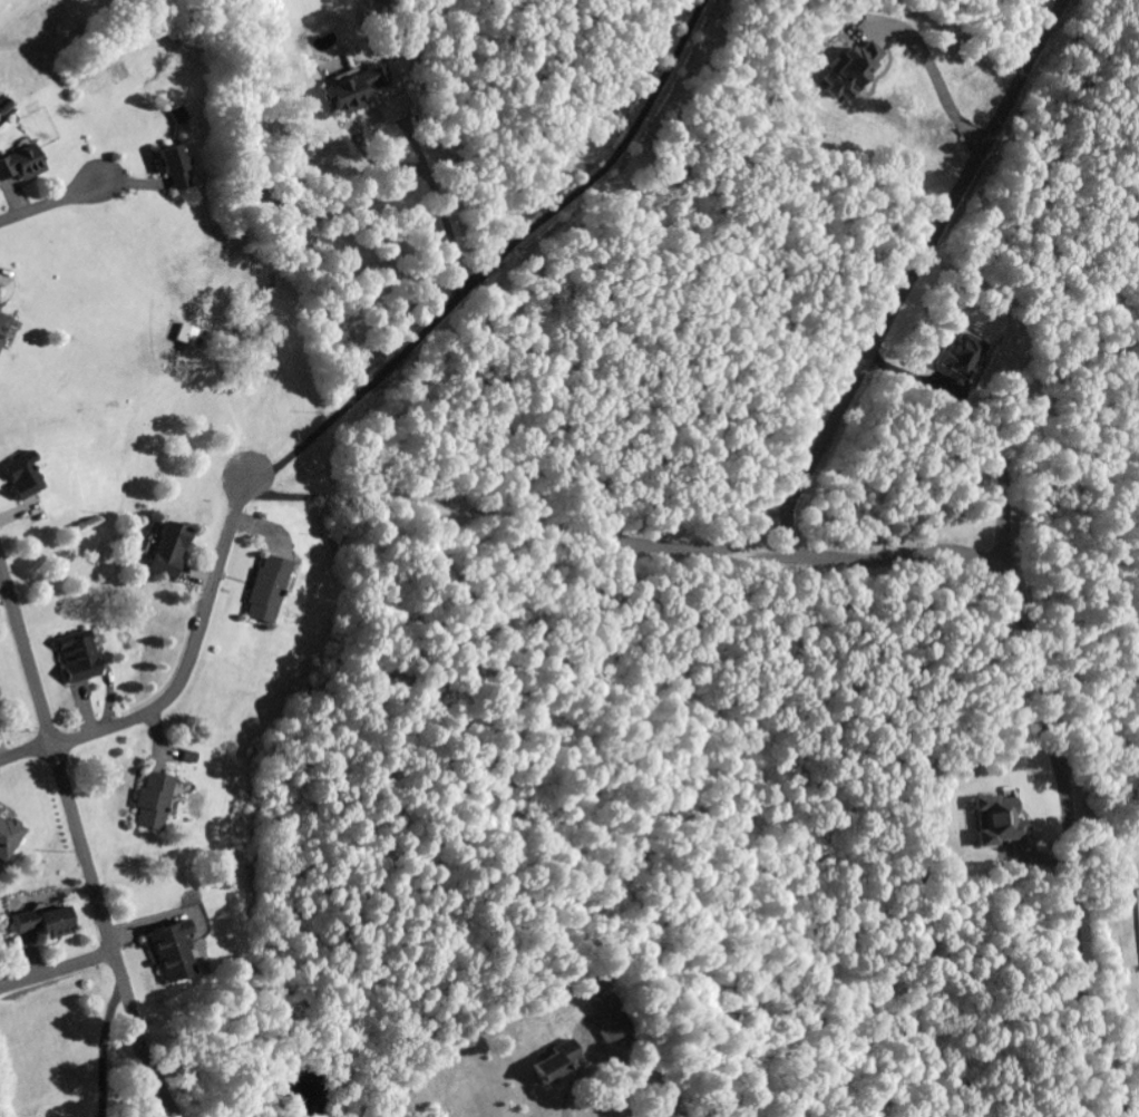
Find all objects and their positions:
building: (846, 71)
building: (347, 95)
building: (18, 165)
building: (165, 169)
road: (48, 204)
road: (916, 282)
building: (1, 323)
building: (962, 357)
building: (18, 482)
road: (789, 517)
road: (520, 518)
building: (164, 552)
building: (260, 592)
road: (192, 655)
building: (74, 662)
road: (1054, 727)
road: (27, 754)
building: (148, 804)
building: (0, 812)
building: (995, 824)
building: (8, 839)
road: (81, 841)
building: (47, 926)
building: (163, 955)
road: (57, 968)
building: (605, 1018)

